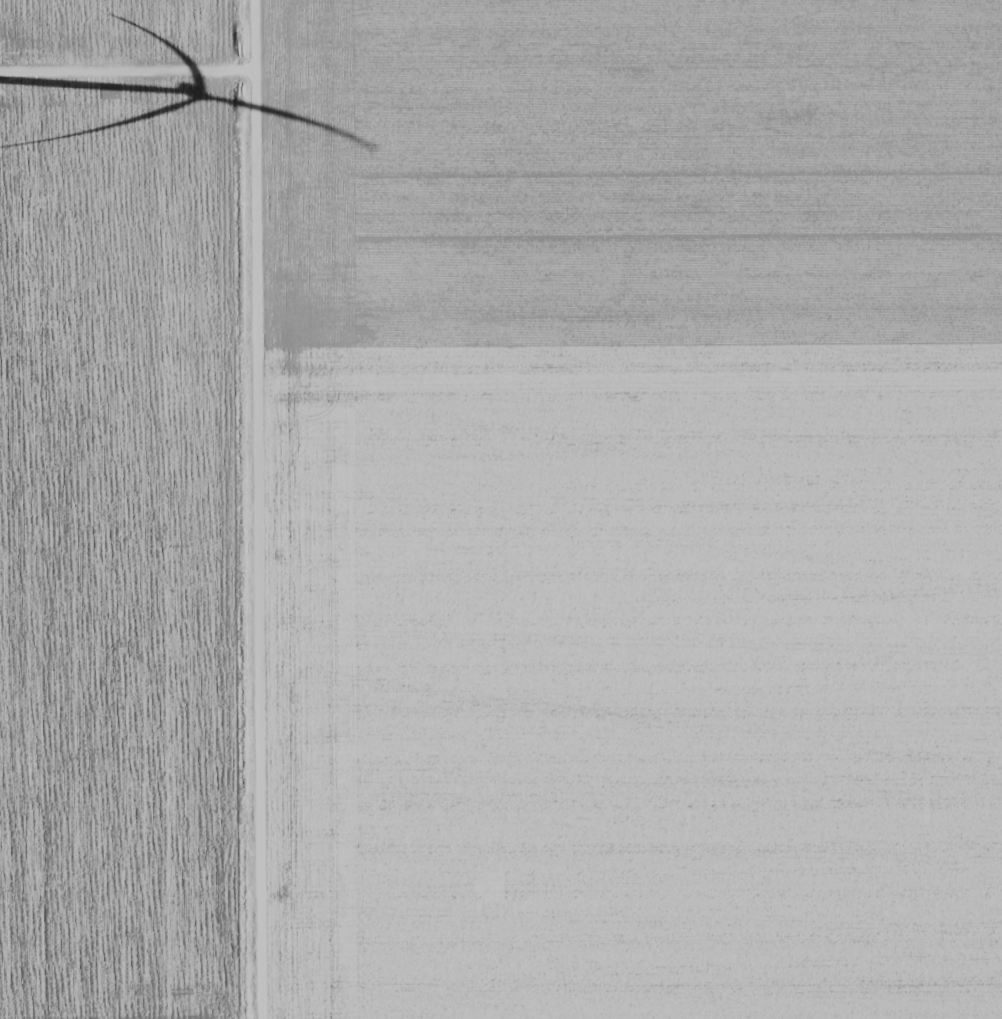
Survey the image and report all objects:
road: (262, 509)

